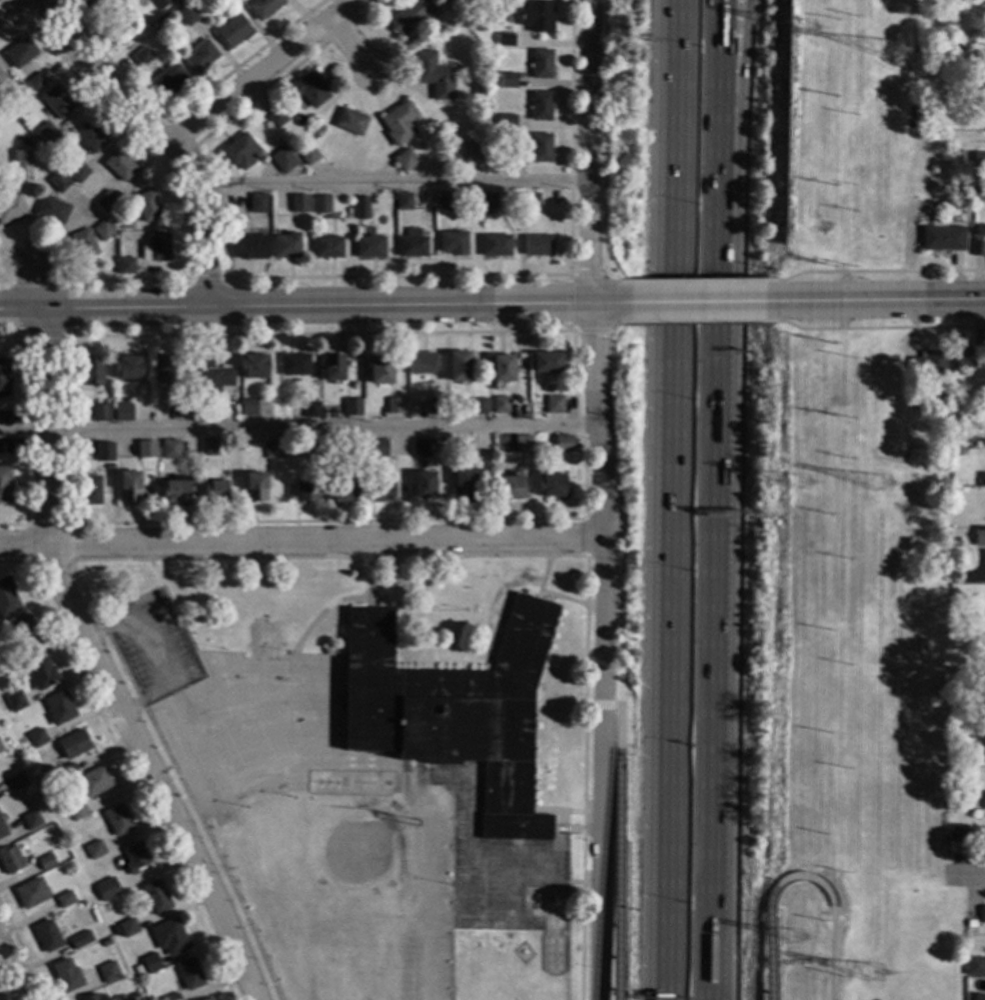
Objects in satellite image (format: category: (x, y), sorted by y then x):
building: (450, 0)
building: (487, 0)
building: (96, 3)
building: (161, 3)
road: (9, 7)
building: (263, 7)
building: (187, 15)
building: (411, 15)
building: (537, 15)
building: (233, 30)
building: (119, 33)
power tower: (807, 36)
building: (505, 39)
street lamp: (697, 44)
road: (350, 46)
building: (20, 54)
building: (200, 55)
building: (142, 56)
power tower: (887, 61)
building: (541, 63)
road: (263, 72)
building: (433, 75)
building: (507, 79)
building: (2, 80)
building: (169, 80)
building: (36, 81)
road: (721, 83)
road: (734, 83)
building: (308, 88)
building: (20, 92)
building: (969, 98)
building: (57, 100)
building: (540, 105)
building: (277, 117)
building: (506, 121)
building: (350, 122)
building: (399, 122)
building: (46, 133)
road: (162, 136)
building: (88, 137)
building: (517, 142)
building: (540, 147)
building: (239, 151)
building: (470, 151)
road: (590, 151)
building: (308, 154)
building: (958, 157)
building: (979, 158)
building: (283, 159)
building: (405, 159)
building: (21, 162)
building: (119, 165)
building: (76, 170)
building: (58, 181)
road: (395, 187)
building: (959, 194)
building: (978, 194)
building: (530, 199)
building: (403, 200)
building: (422, 200)
building: (487, 200)
building: (107, 201)
building: (446, 201)
building: (258, 203)
building: (299, 203)
building: (321, 204)
building: (147, 205)
building: (361, 207)
building: (965, 207)
building: (11, 209)
building: (52, 209)
building: (348, 211)
street lamp: (695, 214)
building: (113, 217)
building: (124, 223)
building: (103, 230)
building: (979, 230)
building: (941, 237)
building: (452, 242)
building: (411, 243)
building: (84, 244)
building: (536, 244)
building: (285, 245)
building: (495, 245)
building: (251, 246)
building: (156, 247)
building: (327, 247)
building: (369, 247)
building: (977, 248)
building: (126, 265)
road: (39, 284)
road: (880, 299)
road: (696, 301)
road: (603, 302)
road: (294, 306)
building: (964, 354)
building: (928, 361)
building: (546, 362)
building: (420, 363)
building: (294, 364)
building: (253, 365)
building: (458, 366)
building: (332, 367)
building: (128, 368)
building: (501, 368)
building: (165, 369)
building: (380, 369)
building: (91, 370)
building: (211, 375)
building: (4, 377)
building: (980, 397)
building: (515, 398)
street lamp: (693, 399)
building: (956, 399)
building: (500, 404)
building: (554, 404)
building: (394, 405)
building: (435, 405)
building: (478, 406)
building: (248, 407)
building: (352, 407)
building: (184, 409)
building: (312, 410)
building: (409, 411)
building: (100, 412)
building: (123, 412)
building: (283, 417)
road: (44, 425)
road: (299, 428)
building: (942, 433)
building: (982, 438)
building: (563, 443)
building: (523, 444)
building: (209, 446)
building: (356, 447)
building: (376, 447)
building: (147, 448)
building: (315, 448)
building: (420, 448)
building: (170, 449)
building: (272, 450)
building: (104, 451)
building: (454, 457)
building: (109, 466)
building: (982, 478)
building: (4, 484)
building: (423, 484)
building: (463, 484)
building: (551, 484)
building: (254, 487)
building: (509, 487)
building: (129, 488)
building: (90, 490)
building: (342, 490)
power tower: (800, 490)
building: (175, 491)
building: (214, 491)
building: (381, 492)
power tower: (880, 492)
building: (306, 493)
road: (667, 499)
building: (979, 536)
road: (323, 542)
building: (955, 542)
road: (23, 544)
street lamp: (690, 558)
road: (714, 583)
building: (7, 598)
building: (980, 619)
building: (24, 632)
road: (154, 648)
road: (599, 651)
building: (984, 663)
building: (39, 673)
building: (15, 700)
road: (586, 704)
road: (598, 704)
building: (59, 708)
building: (454, 710)
building: (982, 711)
street lamp: (688, 721)
road: (619, 722)
building: (37, 738)
building: (74, 744)
building: (1, 748)
building: (983, 754)
building: (67, 770)
road: (148, 771)
building: (16, 780)
building: (94, 781)
building: (983, 800)
building: (77, 810)
building: (31, 819)
building: (118, 819)
building: (2, 829)
building: (957, 832)
building: (95, 849)
road: (581, 851)
building: (135, 856)
building: (10, 859)
building: (45, 861)
building: (118, 862)
road: (617, 874)
road: (967, 874)
street lamp: (686, 887)
building: (106, 888)
building: (30, 892)
building: (155, 896)
building: (65, 899)
road: (768, 903)
building: (982, 914)
building: (970, 923)
building: (127, 927)
building: (115, 930)
building: (46, 935)
building: (169, 936)
building: (80, 939)
building: (105, 942)
power tower: (794, 946)
road: (832, 953)
building: (150, 962)
building: (975, 965)
building: (108, 972)
building: (189, 973)
building: (66, 975)
power tower: (876, 980)
road: (8, 981)
building: (979, 996)
building: (94, 997)
building: (172, 997)
building: (207, 999)

